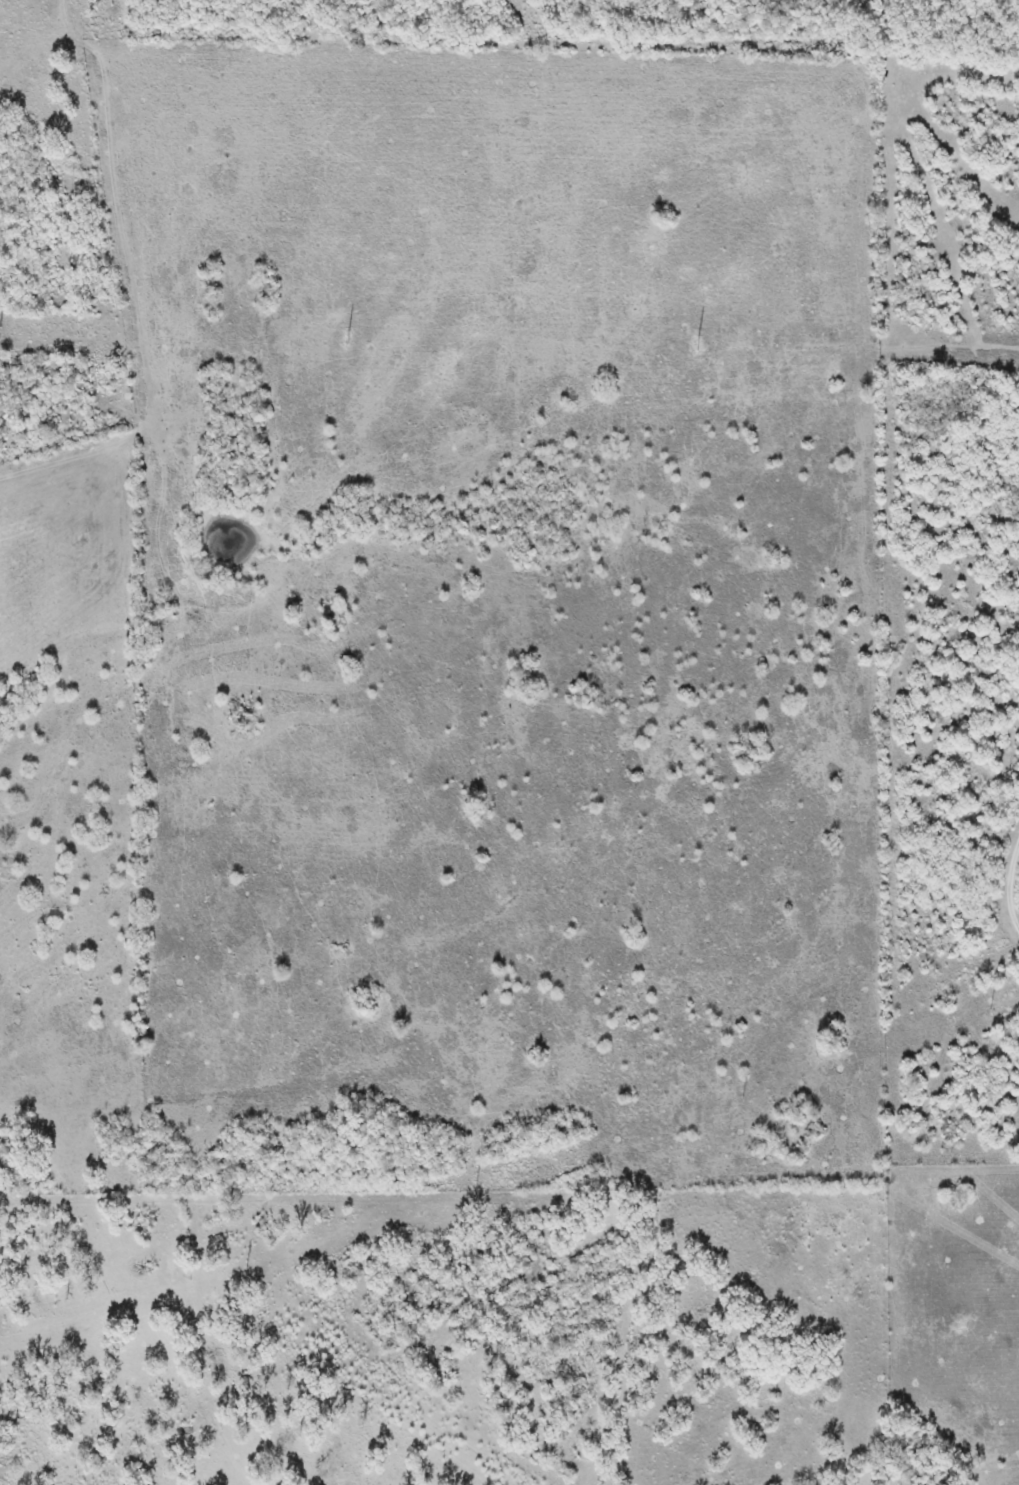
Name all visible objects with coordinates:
power tower: (0, 332)
power tower: (349, 339)
power tower: (698, 345)

